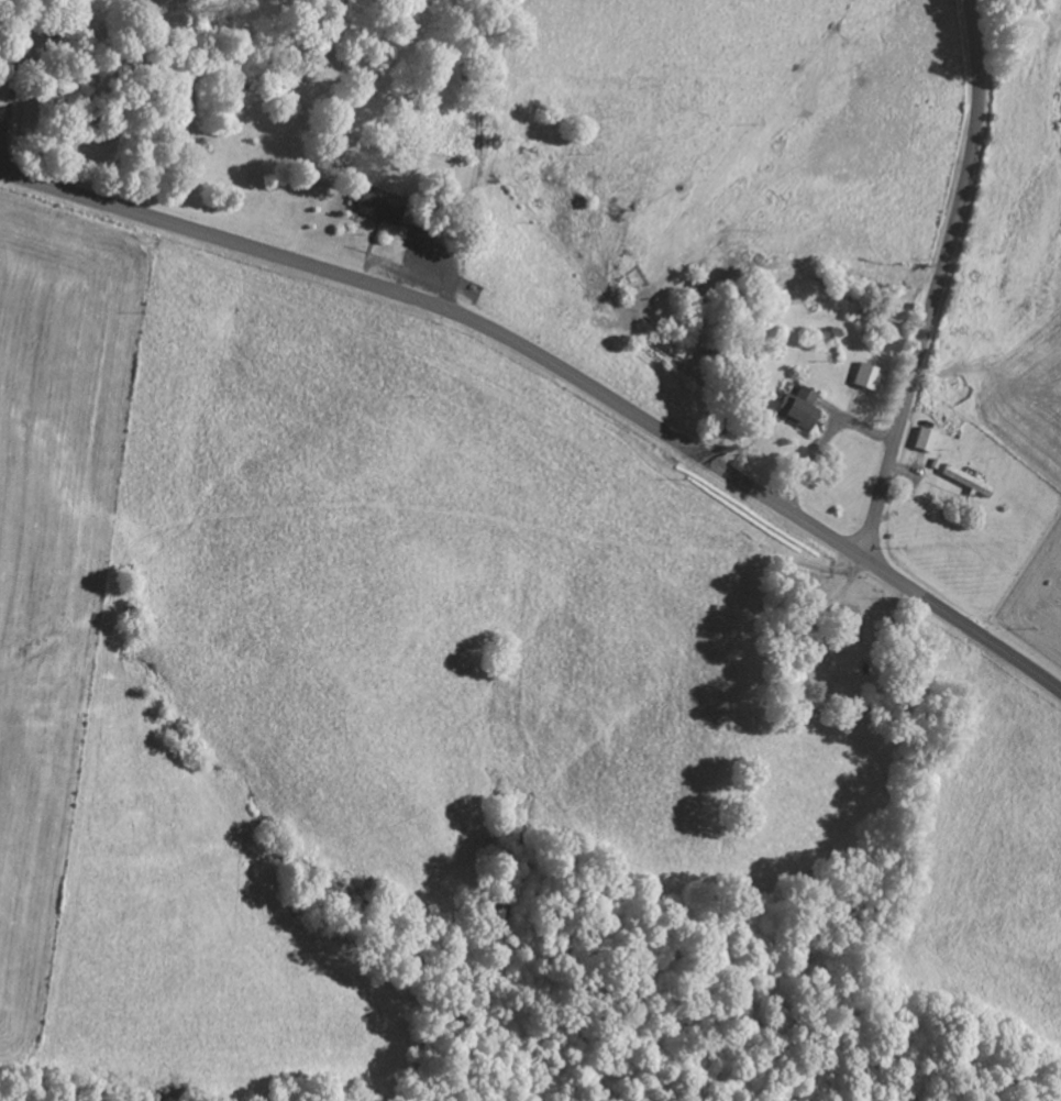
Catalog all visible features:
park: (262, 124)
building: (379, 208)
road: (939, 282)
road: (560, 367)
building: (864, 379)
building: (798, 412)
building: (924, 443)
park: (844, 674)

